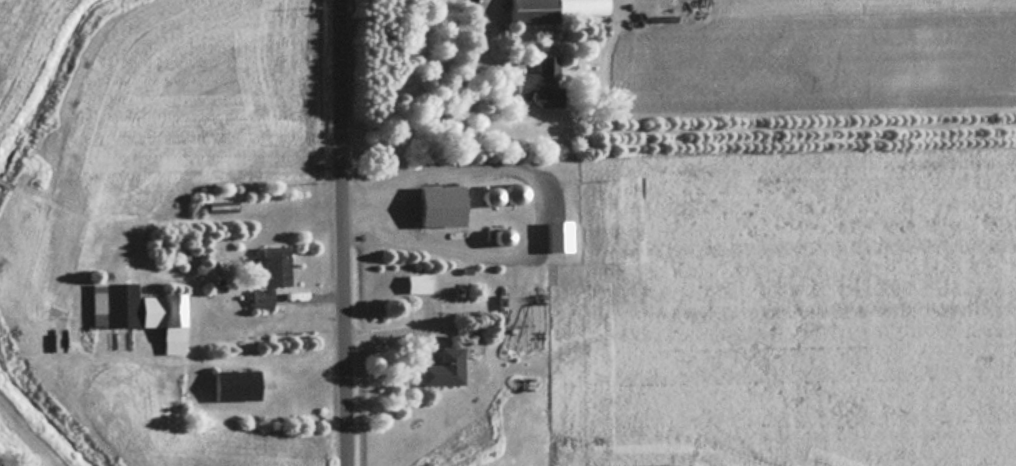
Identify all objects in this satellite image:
building: (554, 10)
building: (533, 82)
road: (441, 93)
building: (209, 165)
building: (507, 193)
building: (486, 195)
building: (219, 206)
road: (348, 233)
building: (497, 236)
building: (553, 236)
building: (267, 273)
building: (413, 284)
building: (136, 312)
building: (440, 369)
building: (172, 375)
building: (230, 385)

